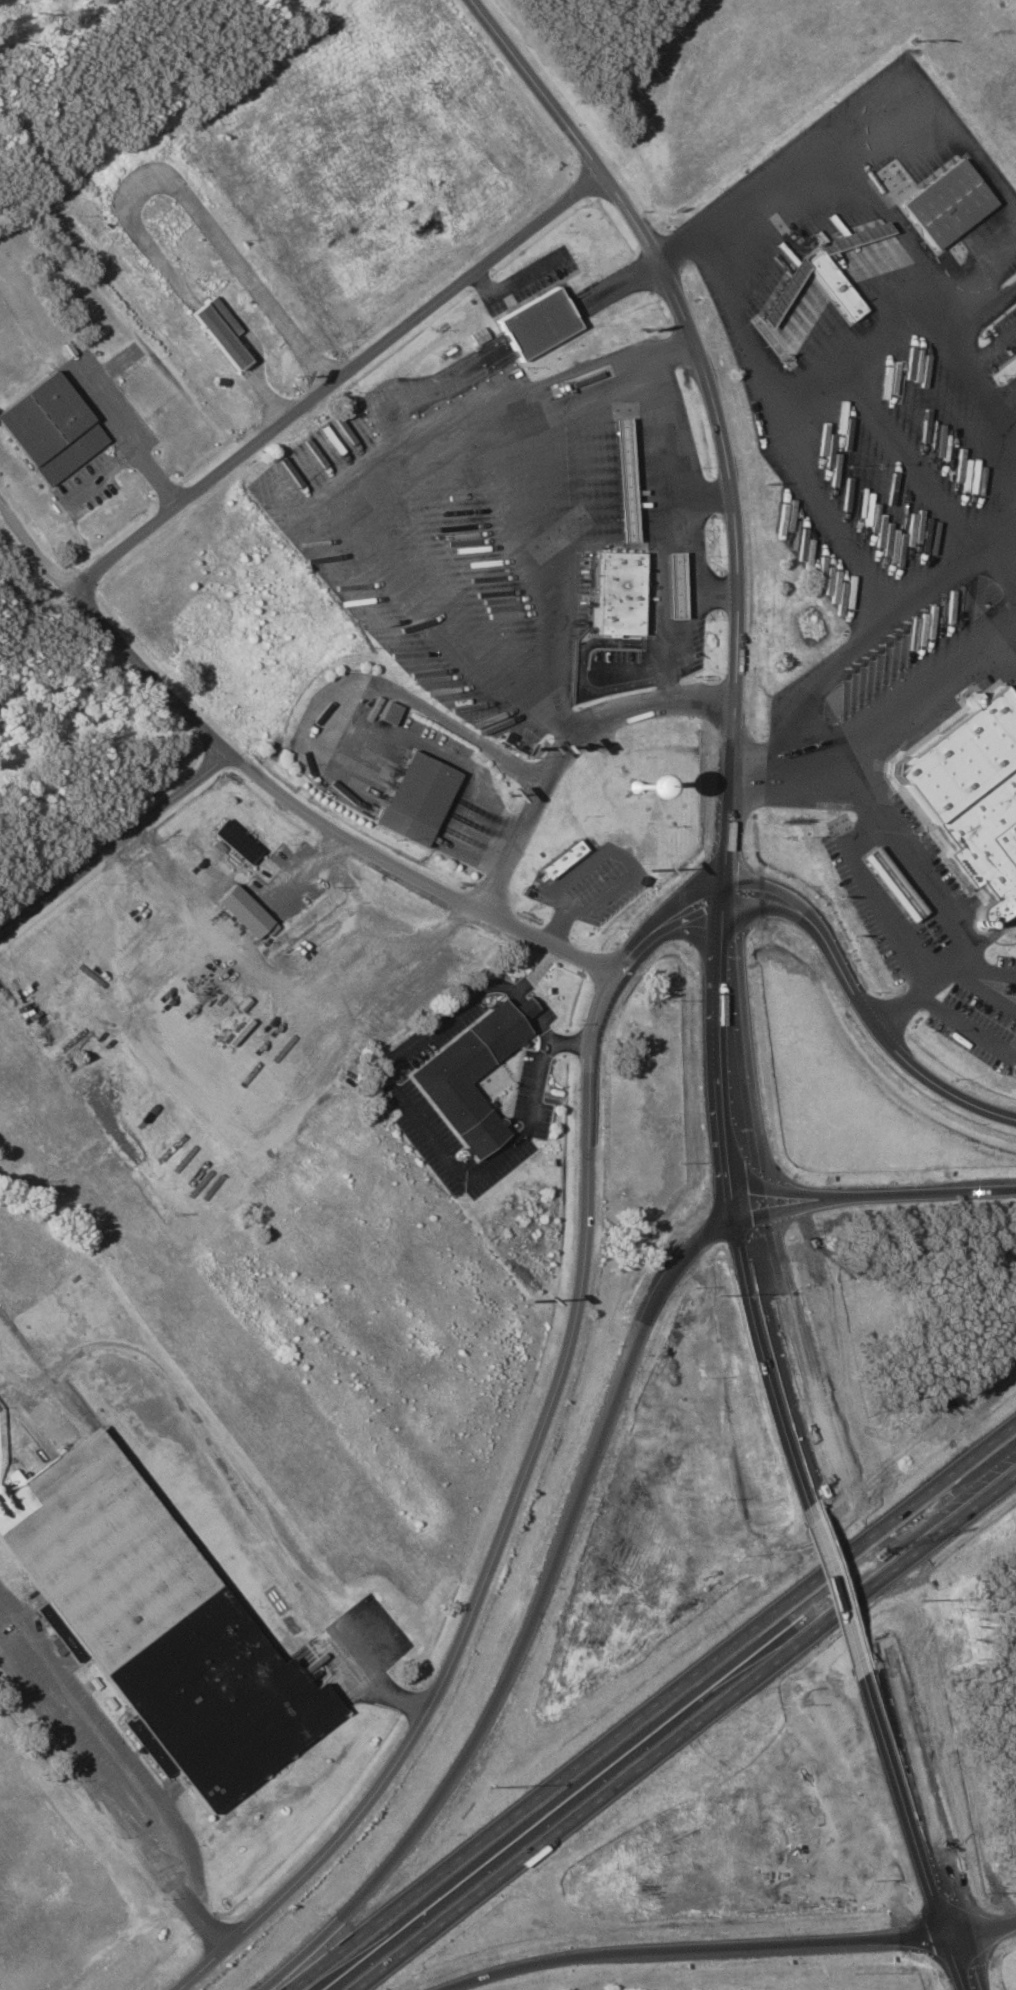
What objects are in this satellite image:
road: (527, 88)
road: (870, 102)
building: (944, 206)
road: (194, 208)
road: (673, 247)
building: (821, 275)
road: (1001, 293)
road: (936, 300)
road: (738, 318)
building: (536, 324)
building: (218, 333)
road: (225, 338)
road: (852, 349)
road: (979, 355)
road: (334, 382)
road: (269, 393)
road: (992, 394)
road: (1008, 398)
building: (47, 429)
parking lot: (883, 439)
road: (905, 455)
gas station: (622, 481)
road: (705, 497)
building: (622, 500)
road: (824, 512)
road: (689, 517)
road: (1002, 555)
building: (672, 585)
gas station: (674, 587)
road: (717, 593)
building: (617, 594)
road: (872, 629)
road: (903, 684)
road: (354, 710)
road: (563, 754)
road: (756, 776)
road: (268, 785)
building: (413, 800)
road: (722, 828)
building: (234, 841)
building: (986, 843)
road: (114, 845)
building: (200, 846)
building: (561, 860)
road: (916, 881)
building: (889, 884)
building: (242, 912)
road: (991, 935)
road: (987, 968)
road: (526, 994)
road: (533, 1007)
road: (963, 1026)
road: (547, 1029)
building: (464, 1077)
road: (421, 1121)
road: (874, 1199)
road: (587, 1275)
road: (6, 1413)
road: (230, 1471)
road: (840, 1588)
road: (534, 1621)
road: (657, 1709)
road: (687, 1731)
road: (115, 1793)
road: (921, 1831)
road: (986, 1931)
road: (700, 1949)

